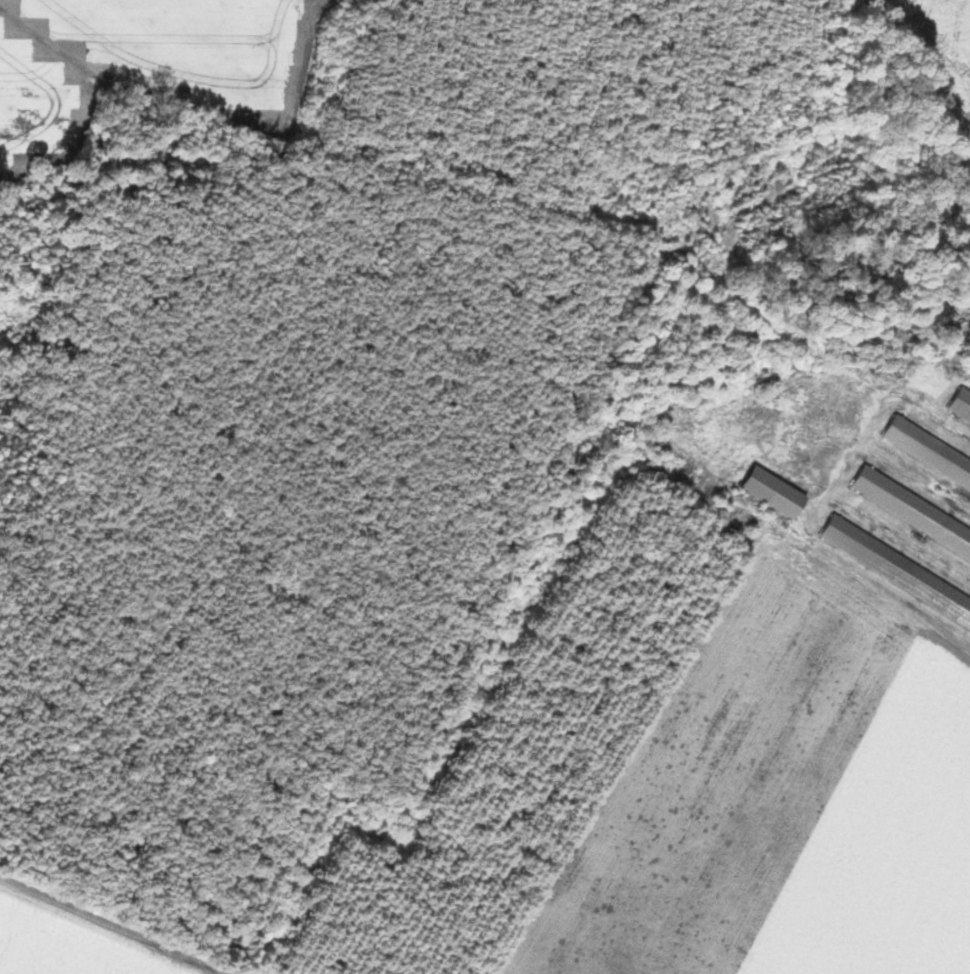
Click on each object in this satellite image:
building: (961, 409)
building: (929, 453)
building: (777, 492)
building: (913, 512)
building: (897, 571)

